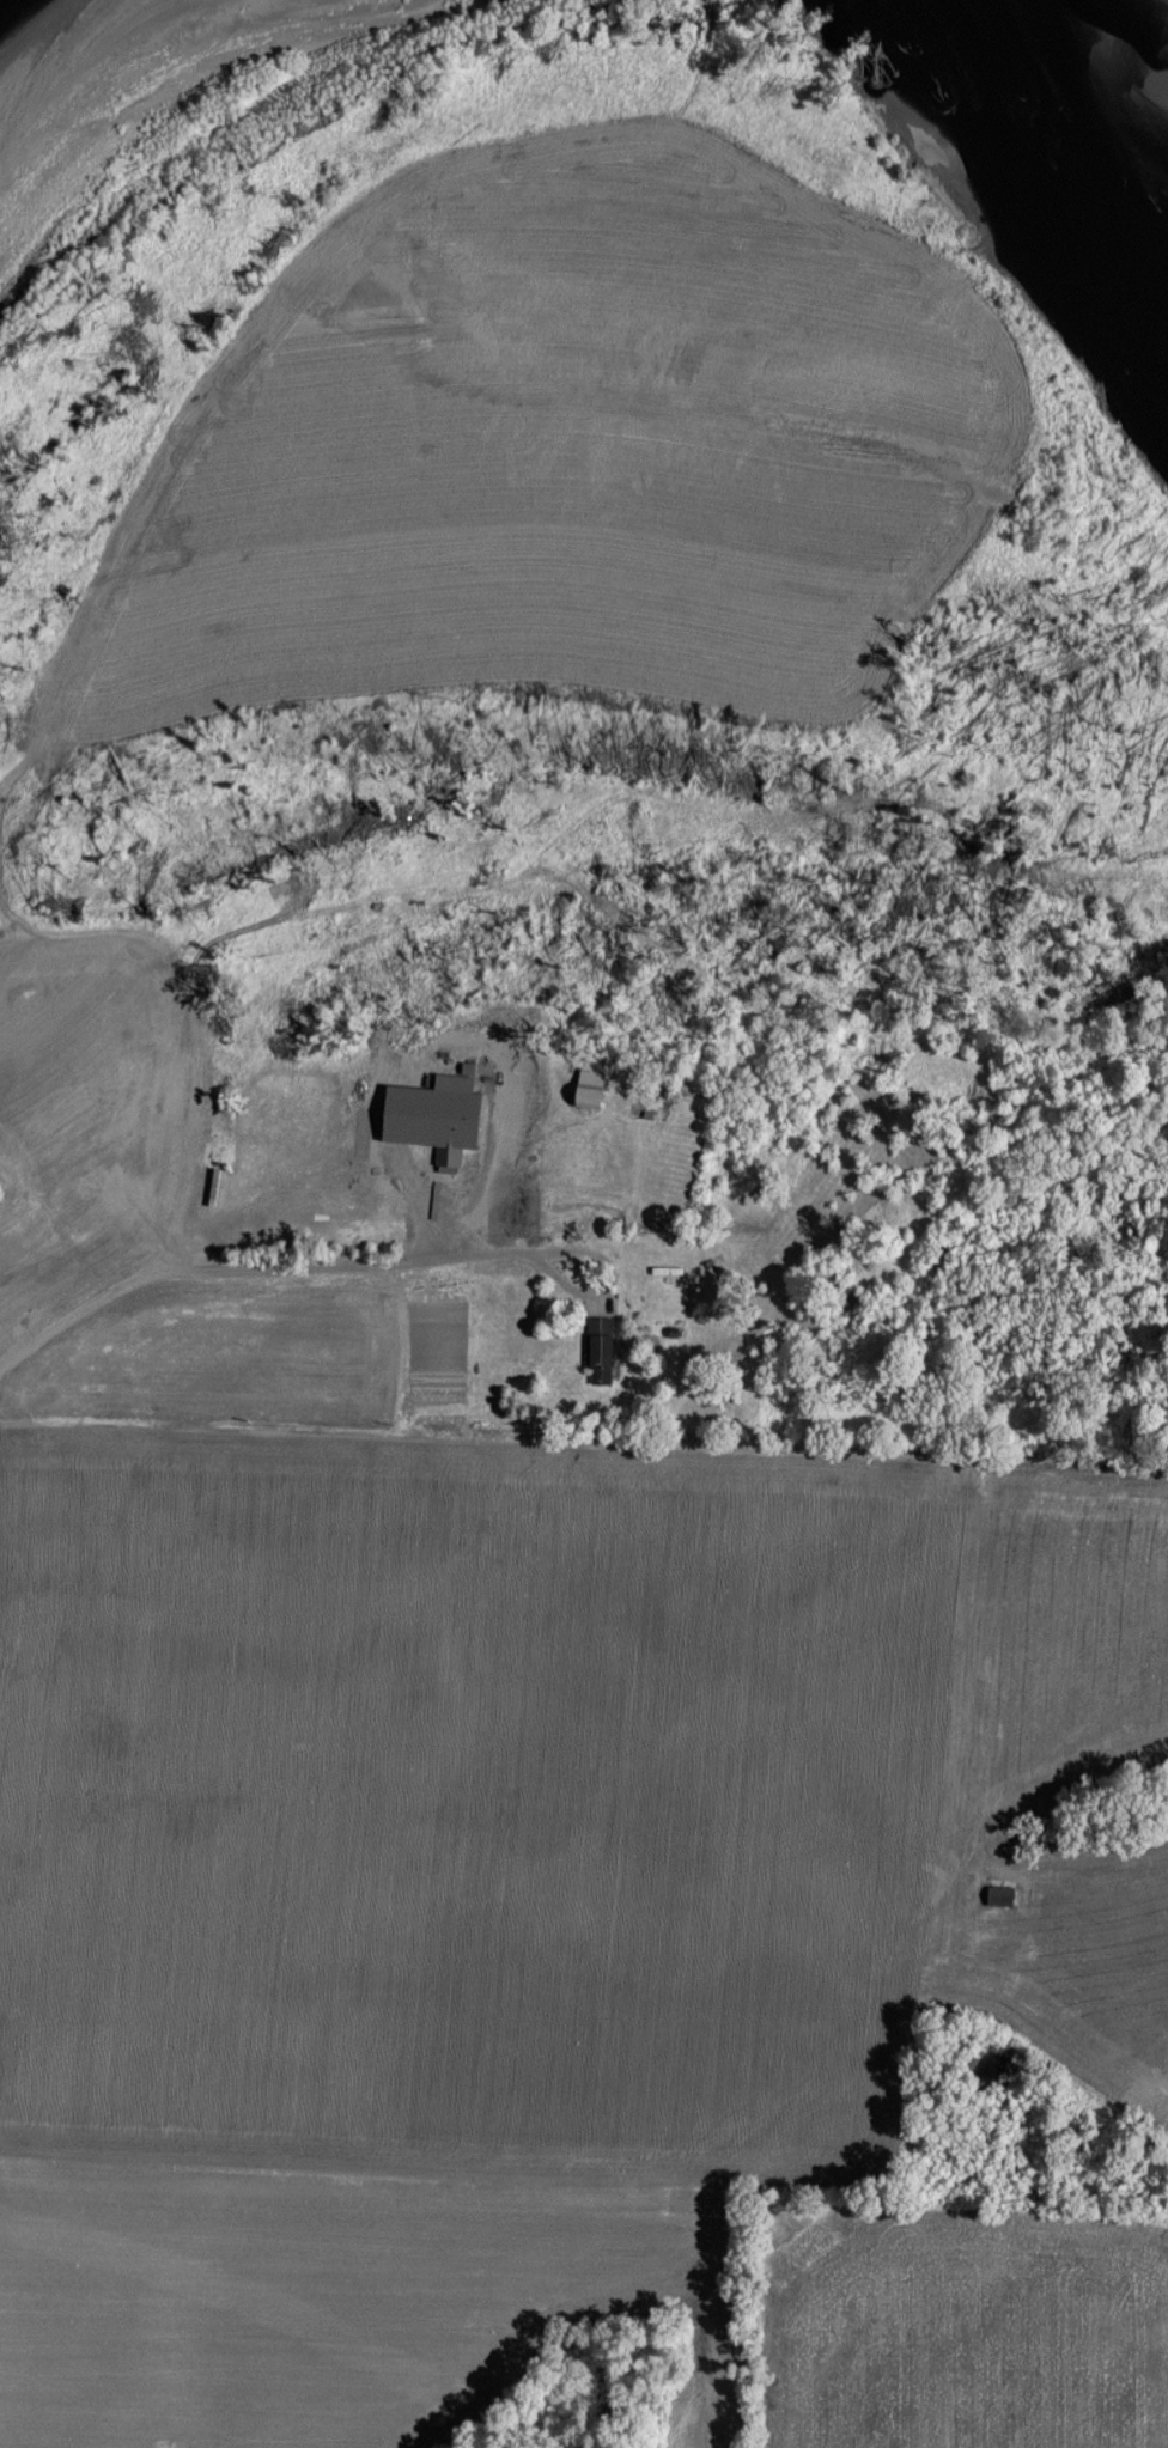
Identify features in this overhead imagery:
river: (1094, 61)
river: (146, 75)
building: (586, 1090)
building: (432, 1115)
road: (242, 1265)
building: (674, 1330)
building: (600, 1357)
building: (998, 1895)

